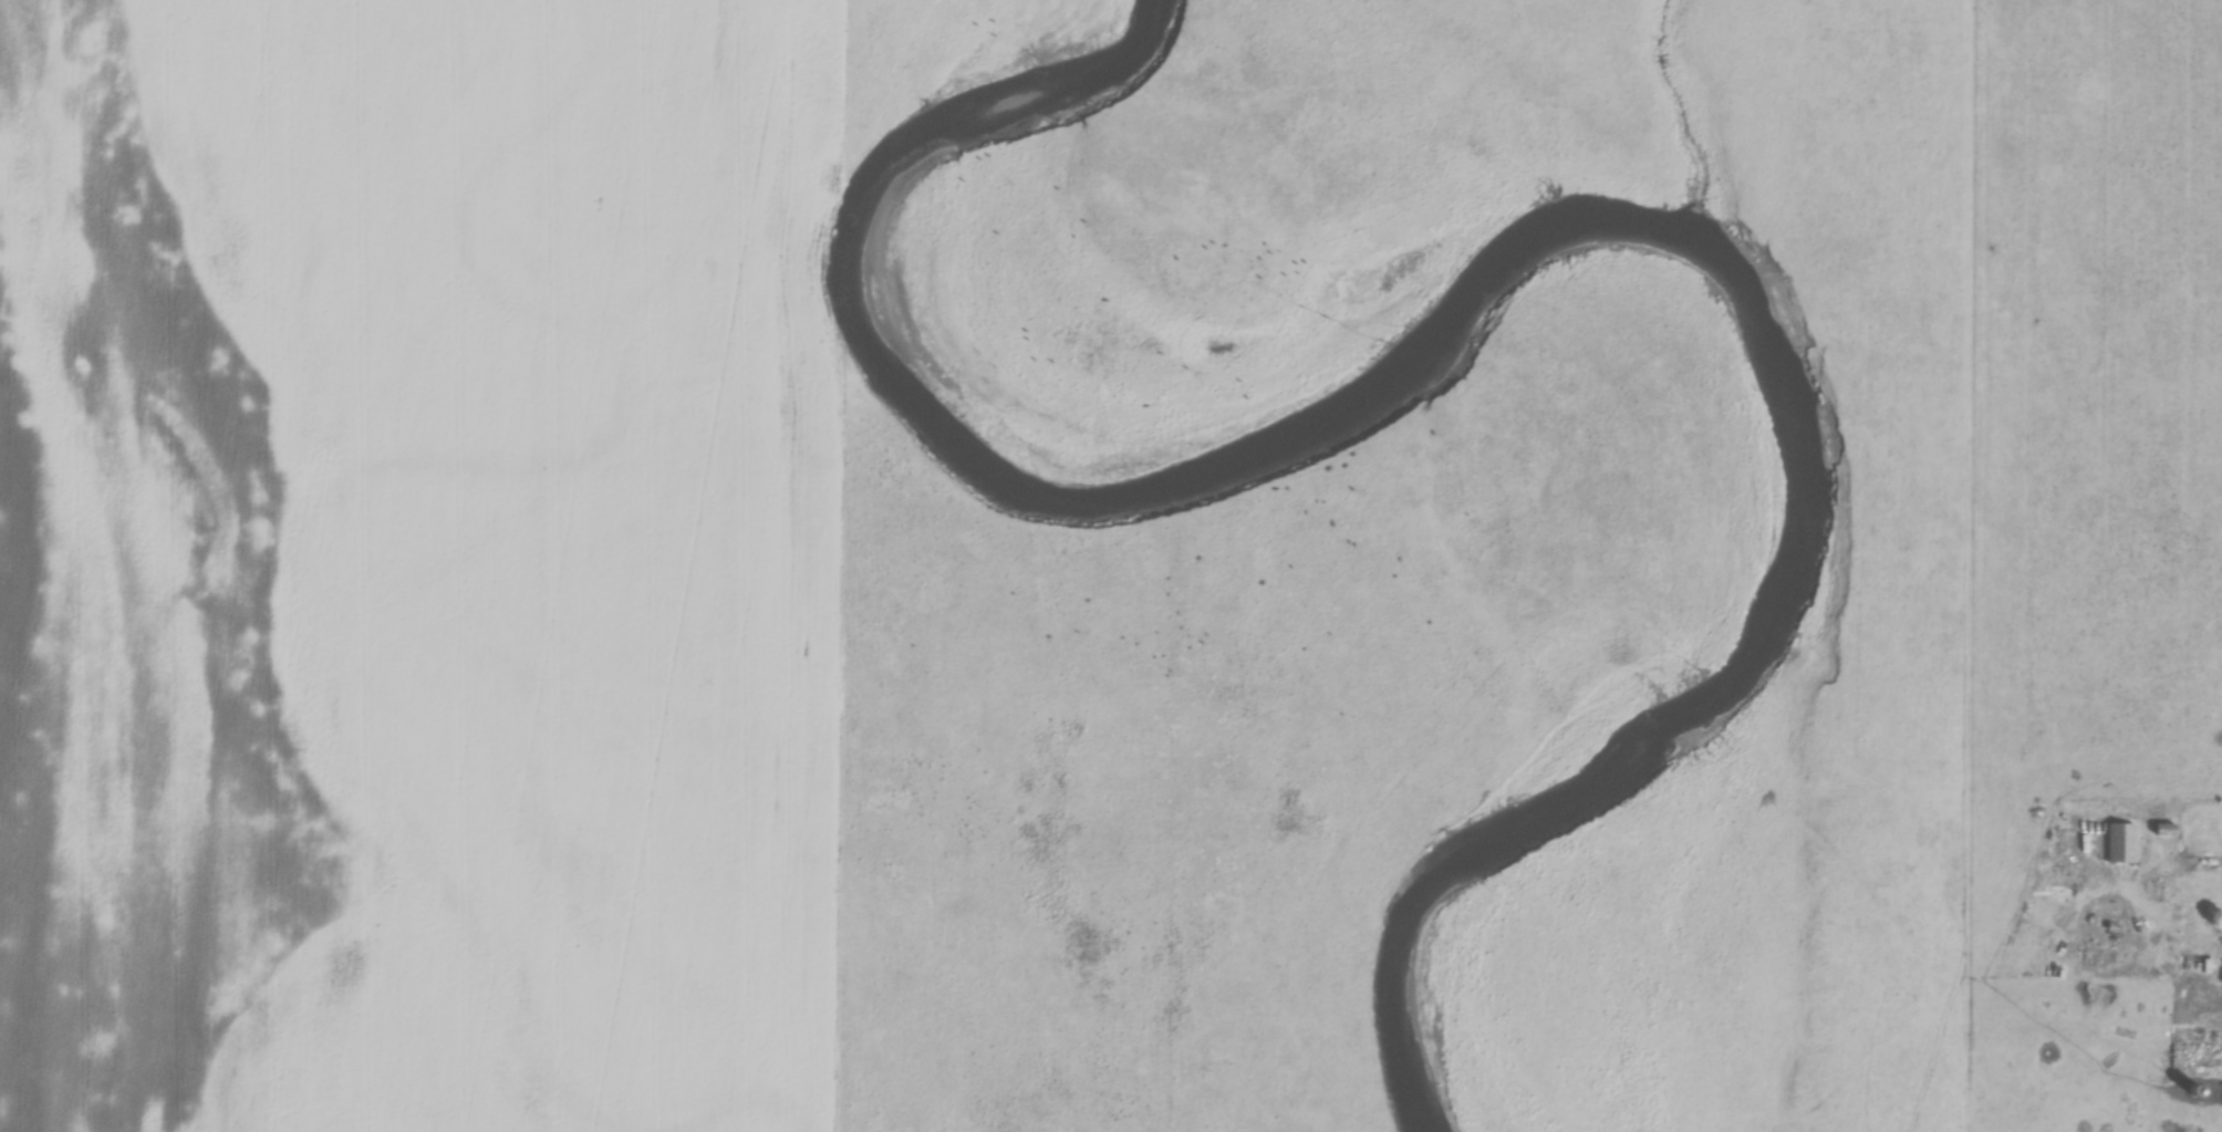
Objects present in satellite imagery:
river: (1523, 260)
building: (2163, 831)
building: (2118, 844)
building: (2101, 960)
building: (2195, 1069)

